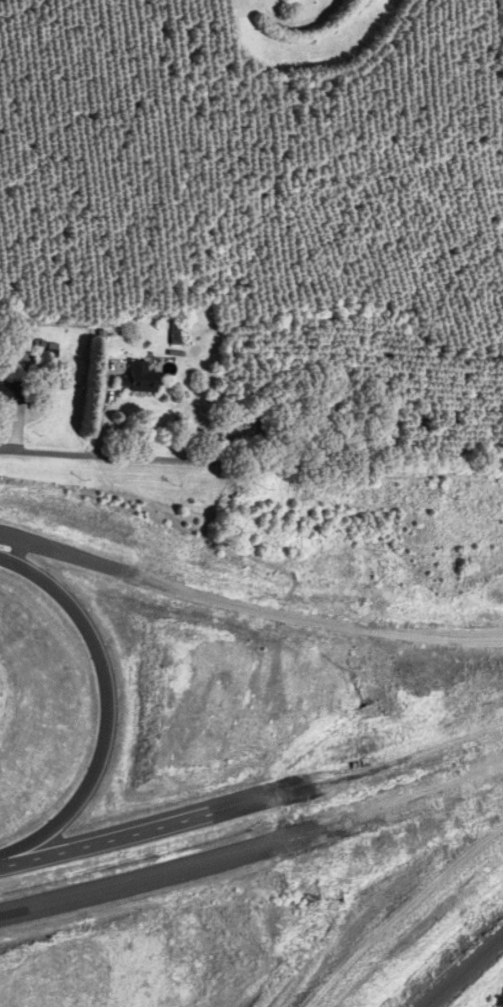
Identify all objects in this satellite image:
building: (134, 382)
building: (12, 393)
building: (260, 432)
road: (114, 464)
road: (111, 706)
road: (460, 970)

